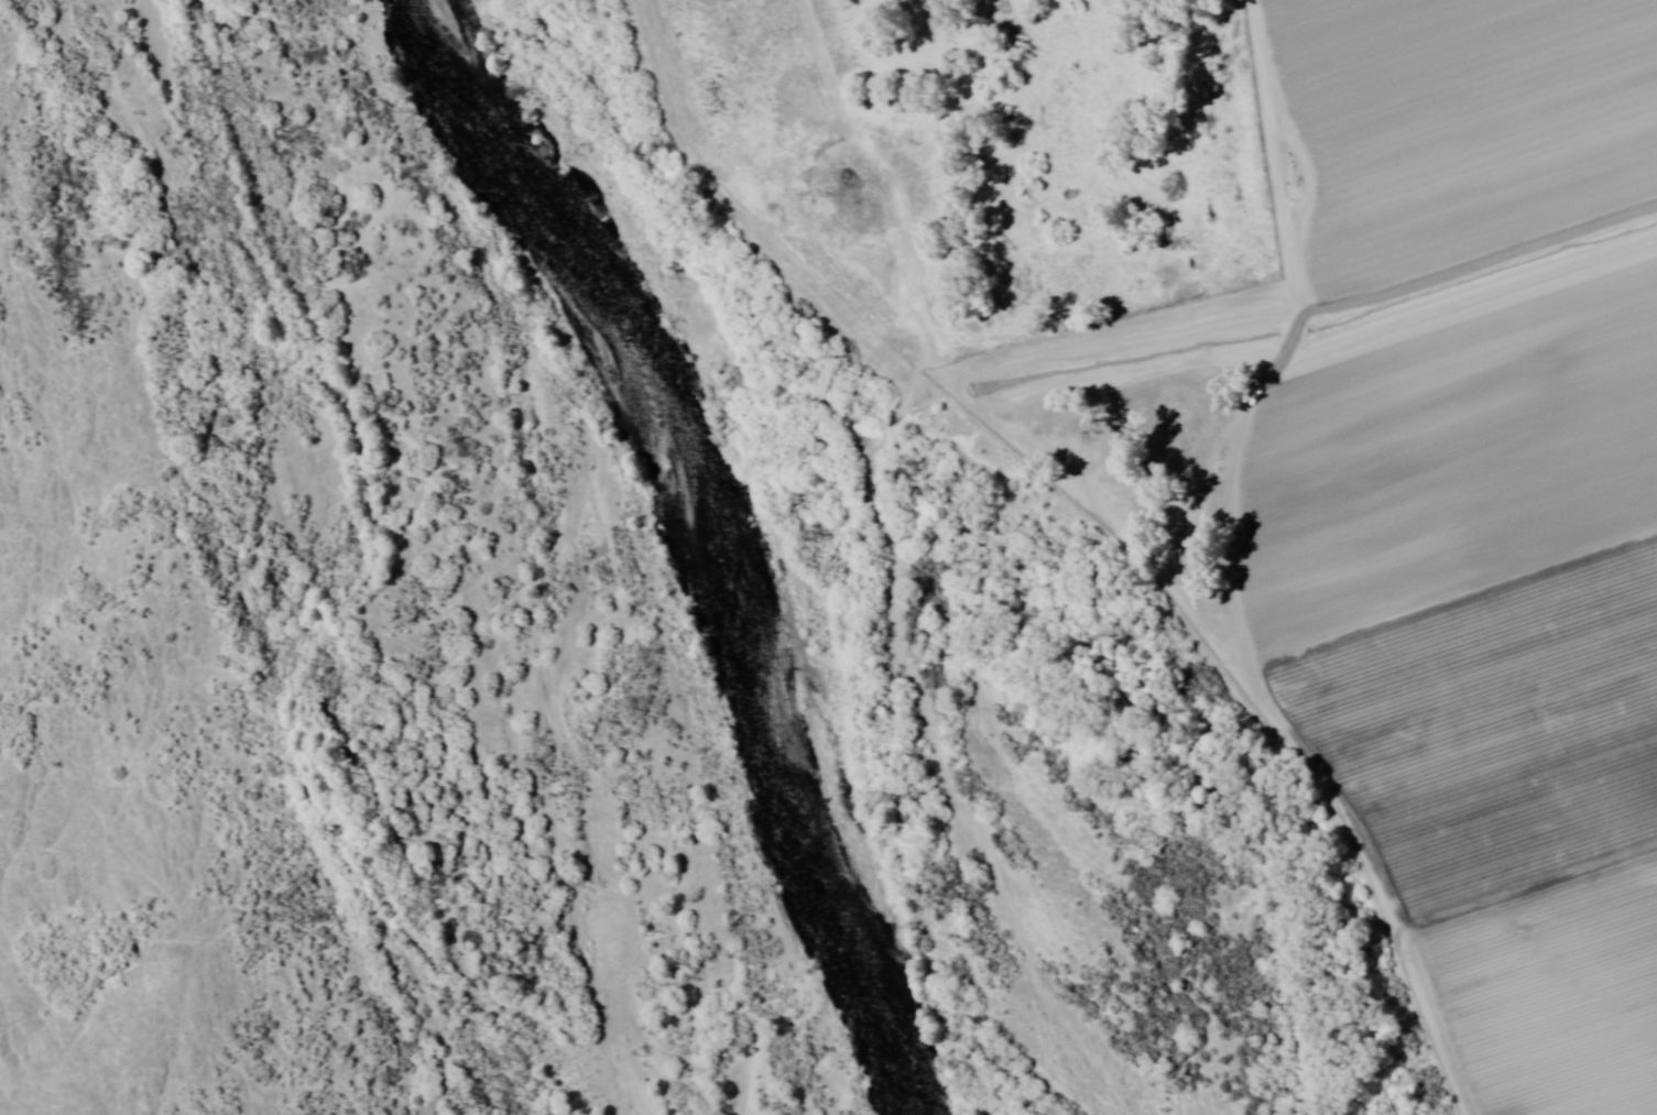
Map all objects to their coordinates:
crop: (1479, 500)
road: (1072, 540)
river: (697, 543)

